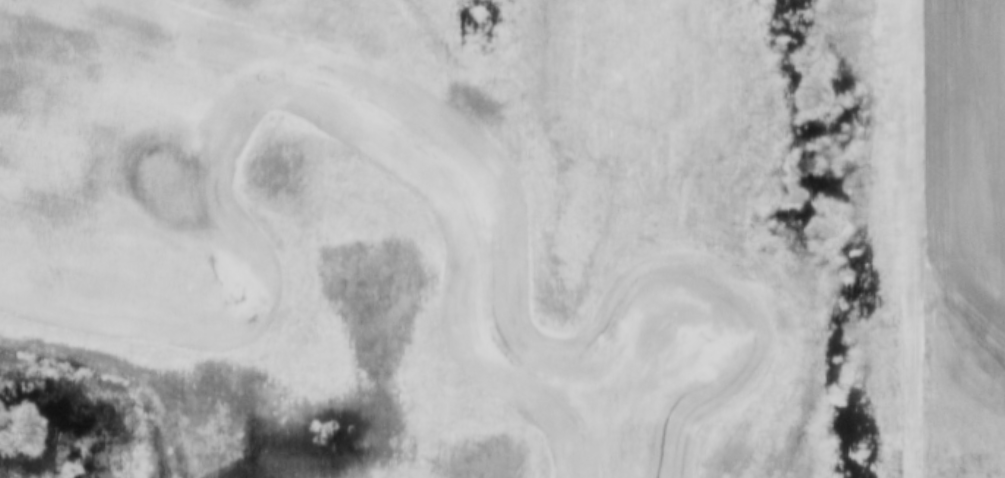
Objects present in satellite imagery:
road: (911, 238)

